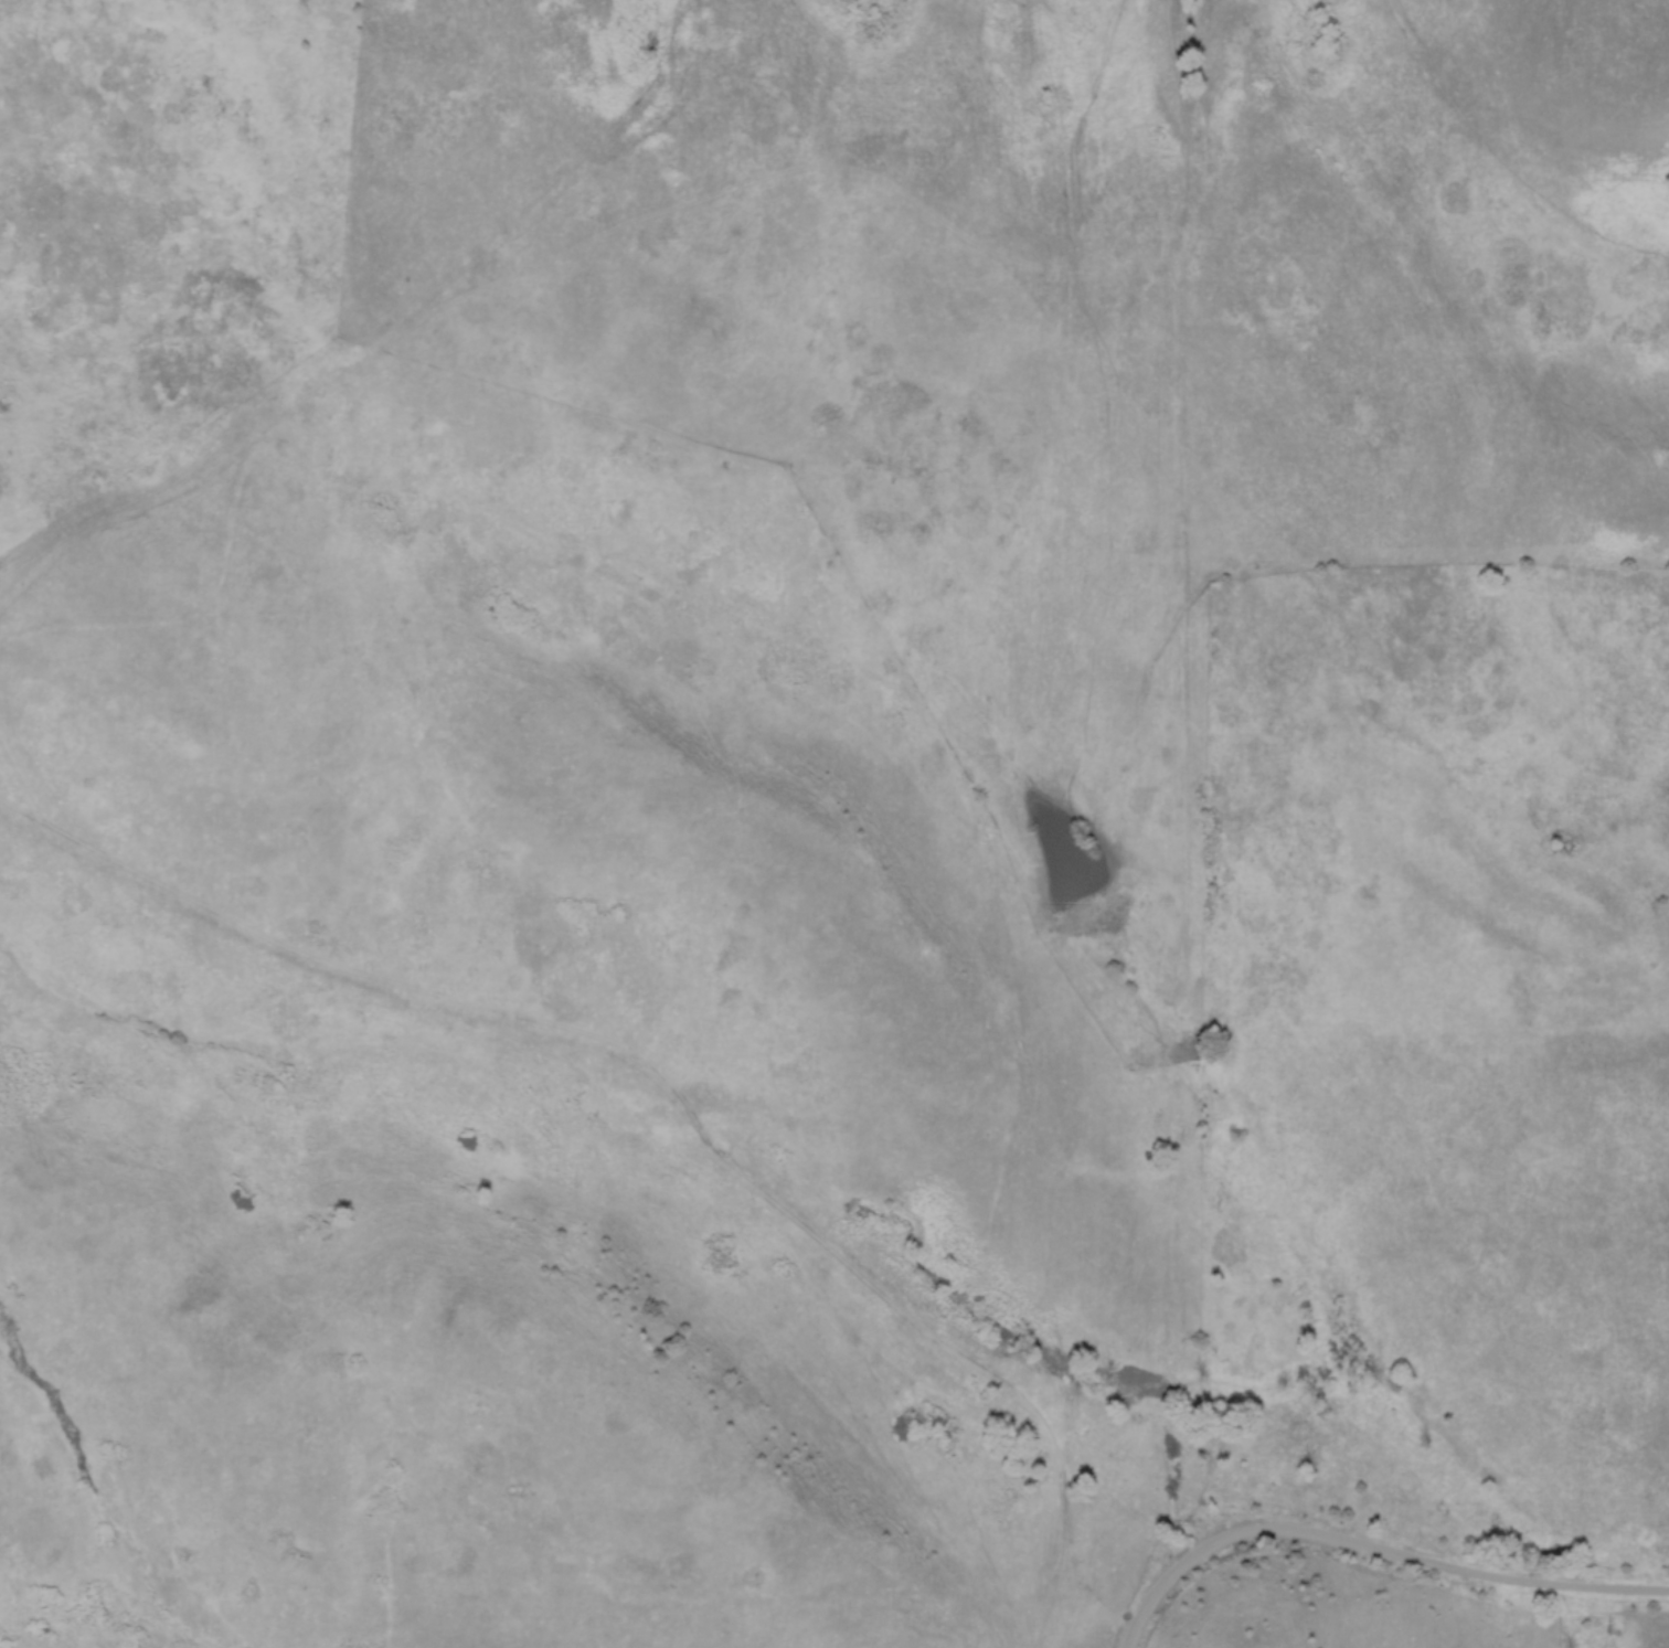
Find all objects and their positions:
road: (1415, 1564)
road: (1151, 1613)

